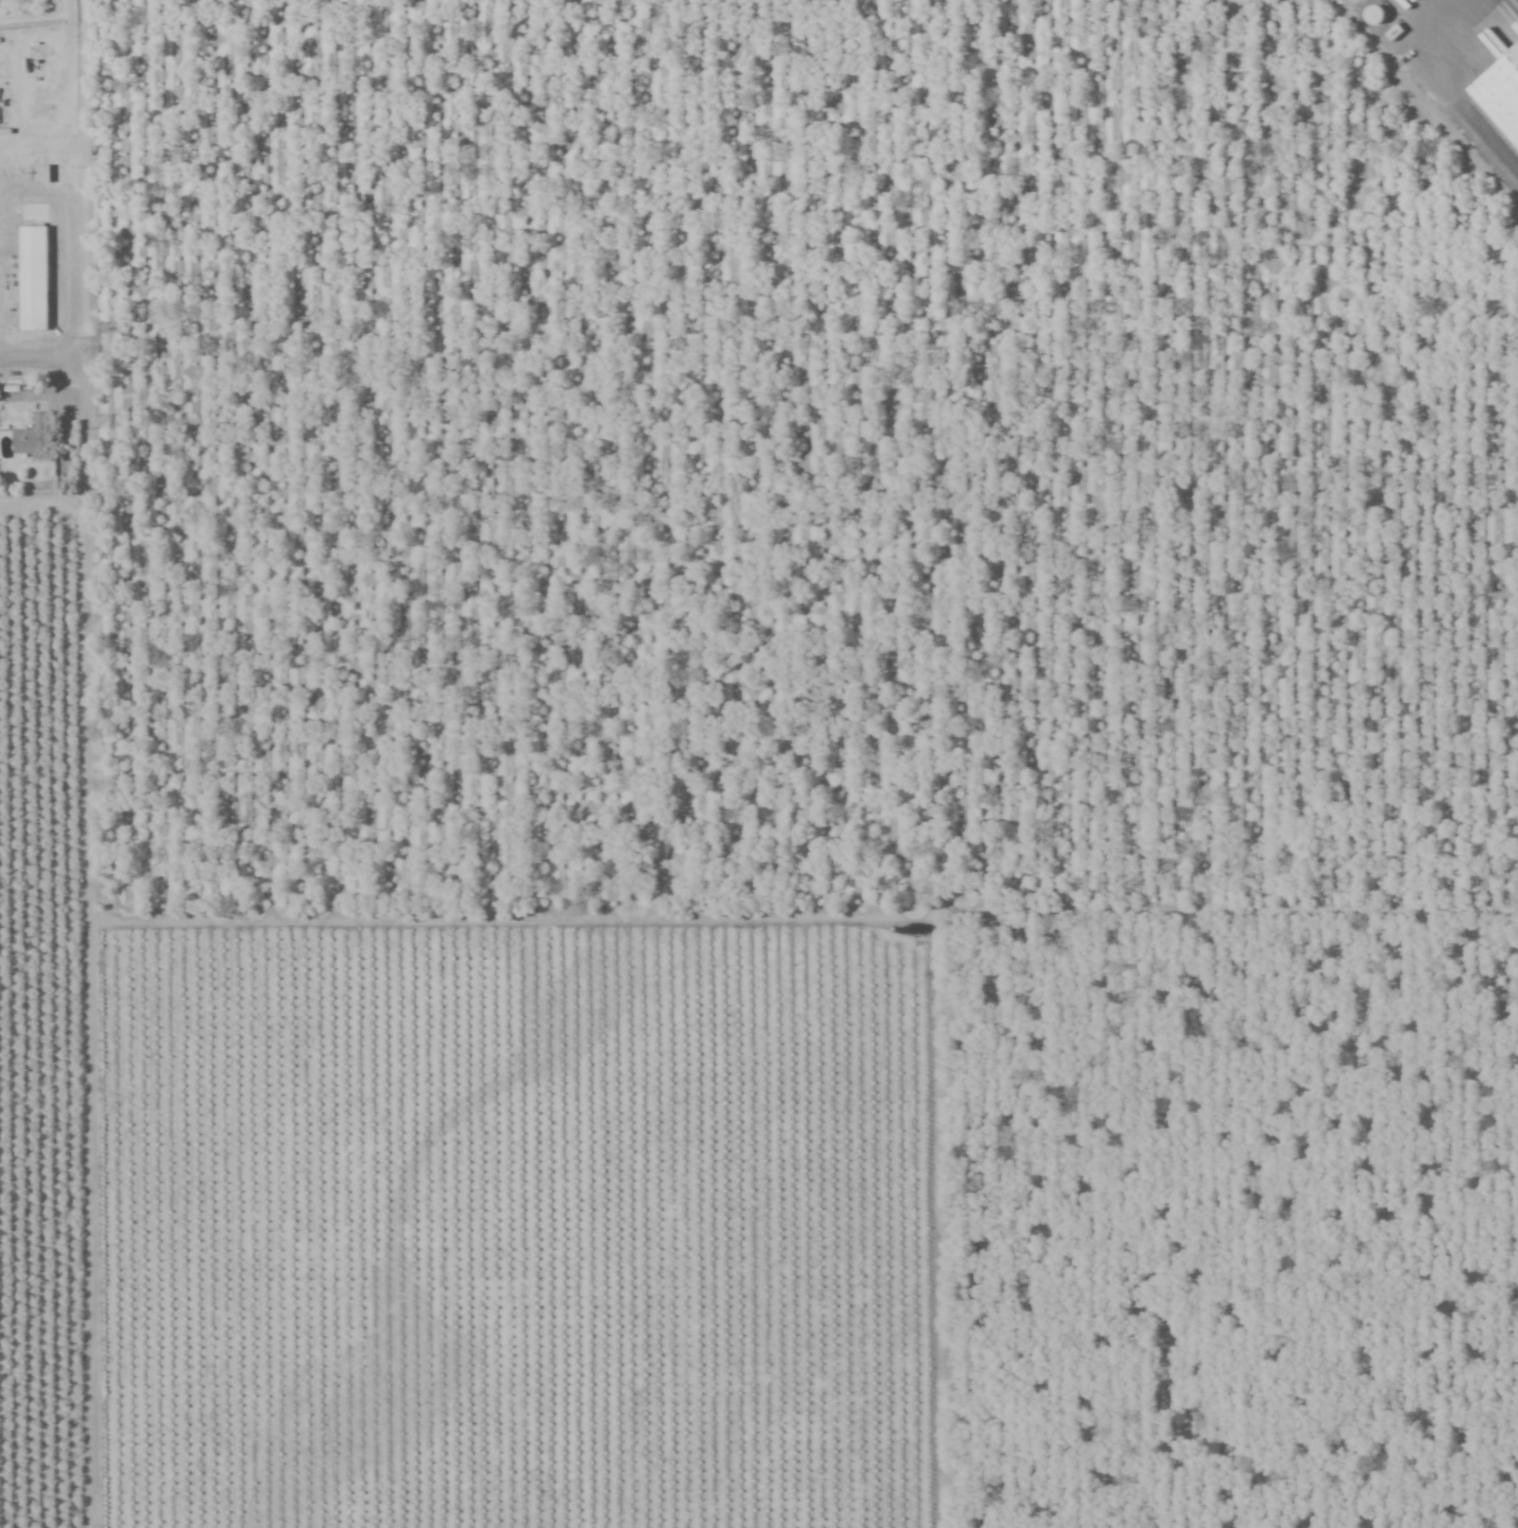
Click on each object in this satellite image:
building: (1369, 16)
building: (1390, 33)
road: (1448, 86)
building: (1499, 95)
road: (39, 141)
building: (41, 175)
road: (36, 201)
building: (29, 278)
road: (7, 356)
road: (40, 363)
building: (29, 439)
crop: (753, 769)
road: (86, 834)
building: (102, 1090)
building: (103, 1434)

